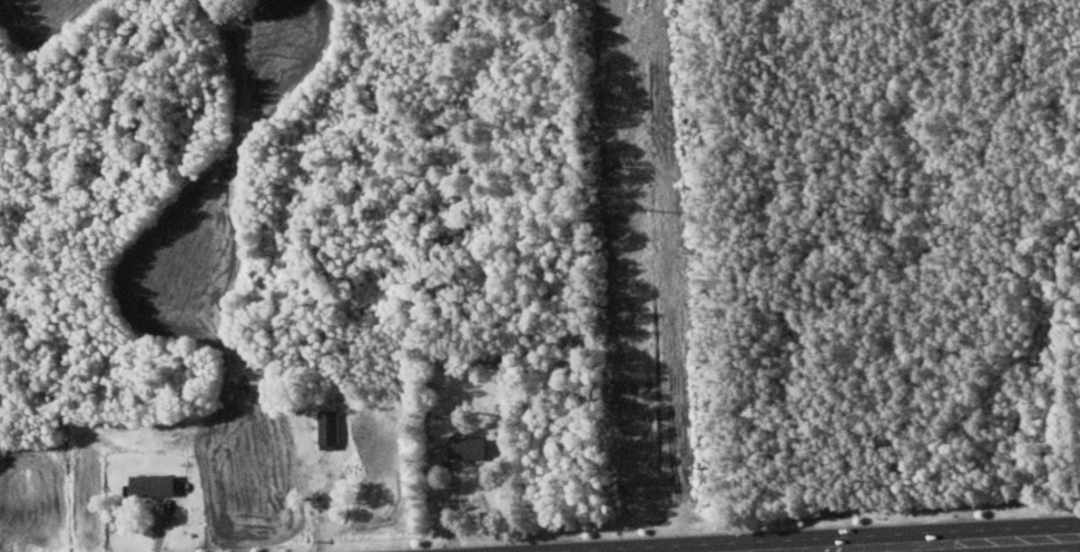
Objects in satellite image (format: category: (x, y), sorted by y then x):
power tower: (657, 210)
building: (332, 427)
building: (471, 446)
building: (157, 483)
road: (1073, 536)
road: (917, 544)

